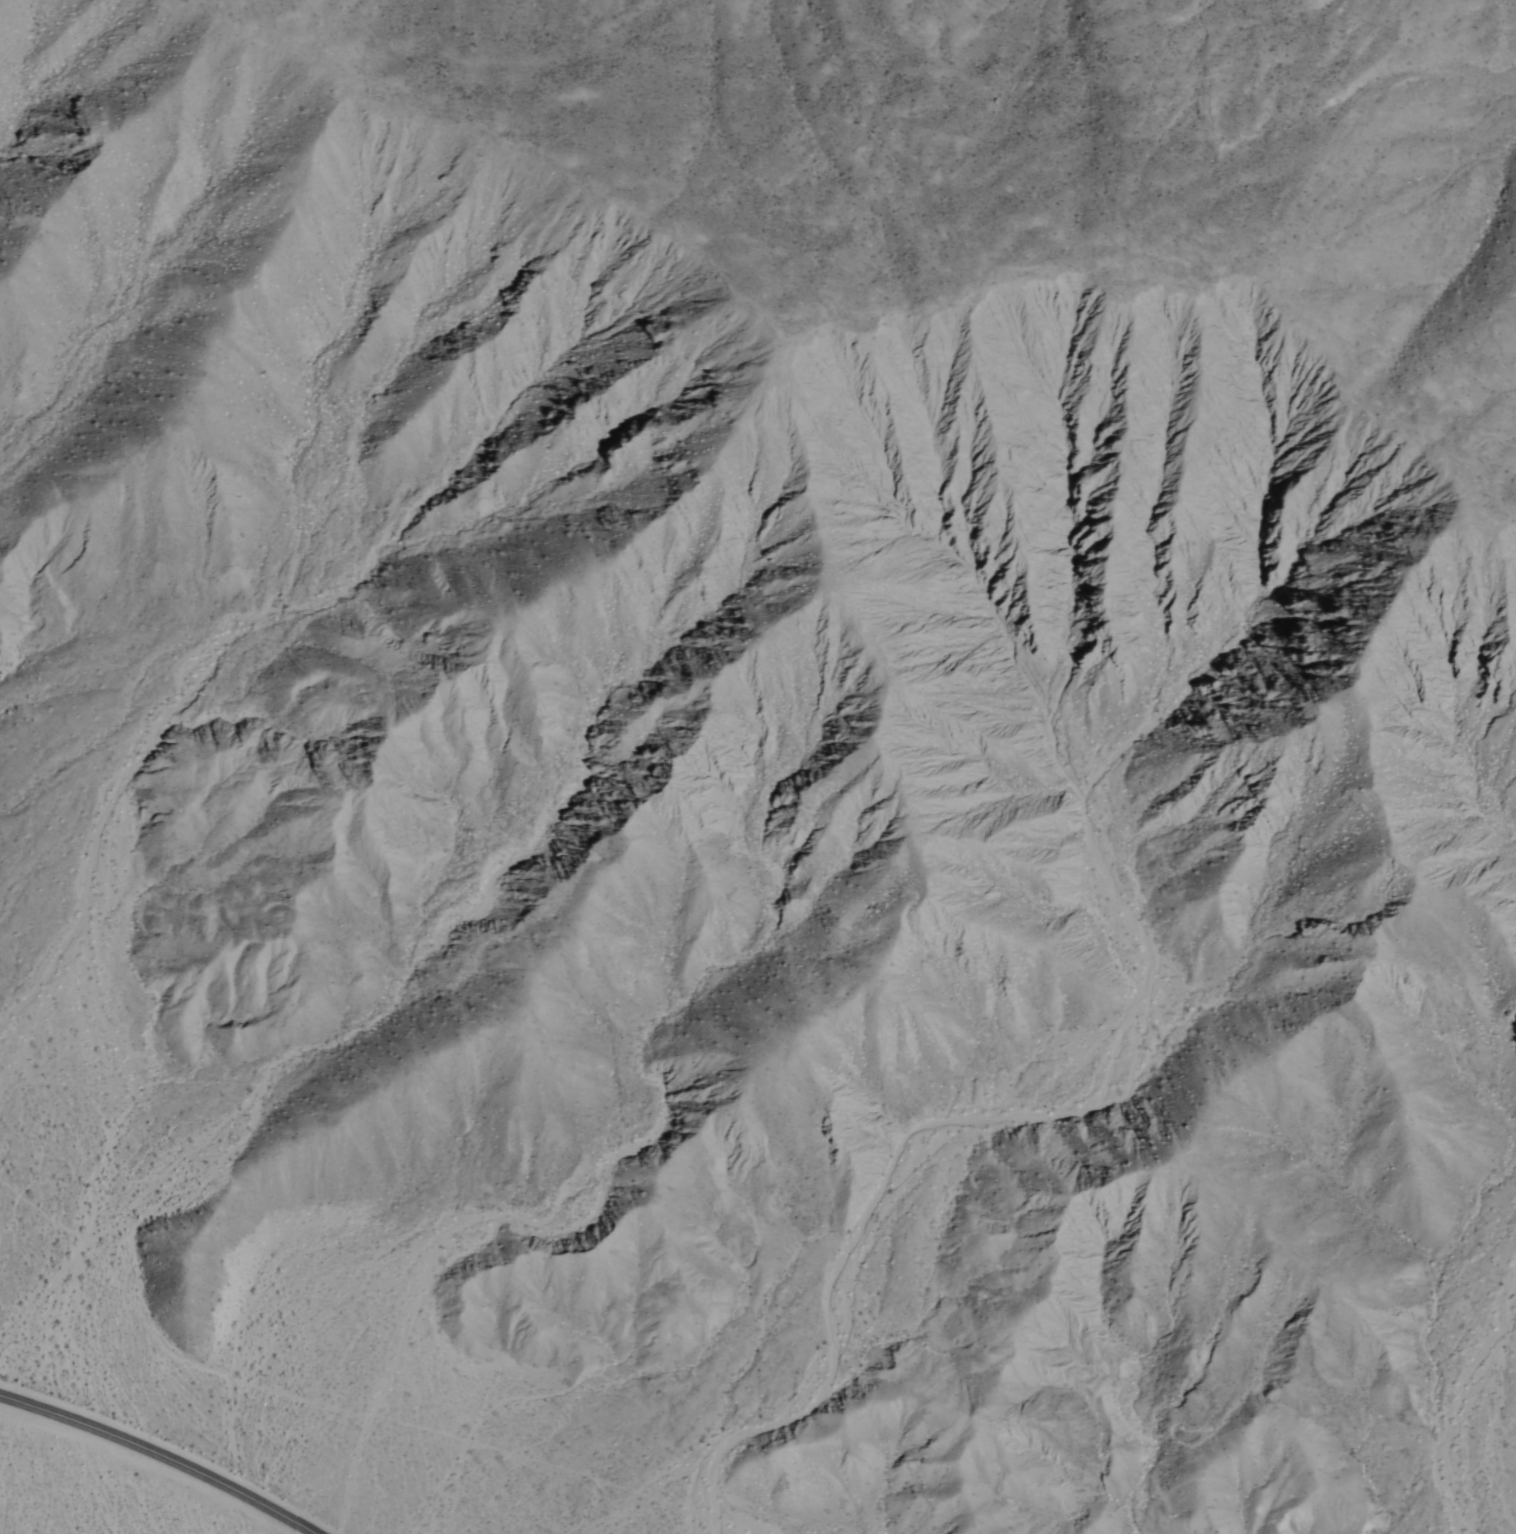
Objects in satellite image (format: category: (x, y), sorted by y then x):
road: (138, 1471)

